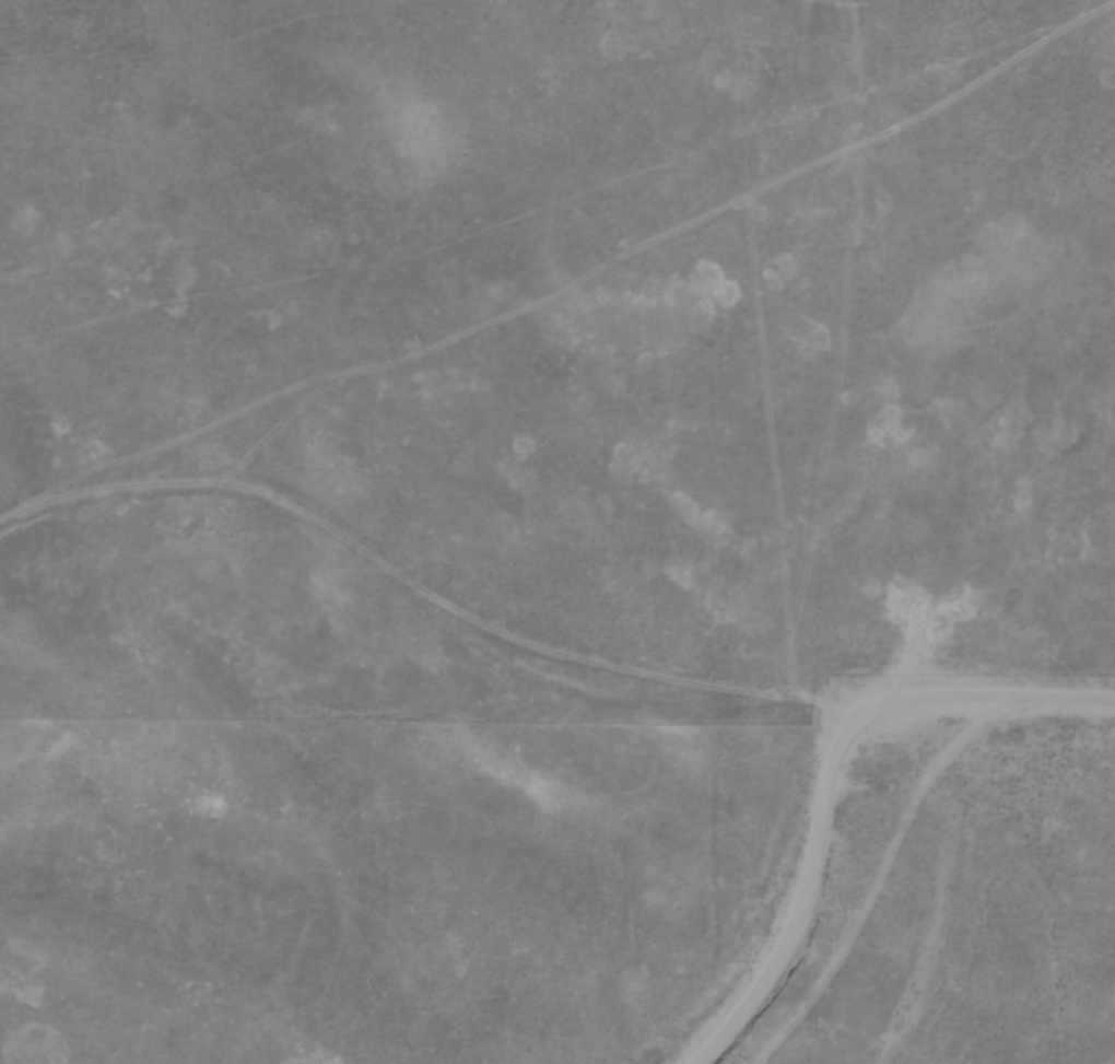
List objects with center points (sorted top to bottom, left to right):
road: (996, 693)
road: (807, 891)

